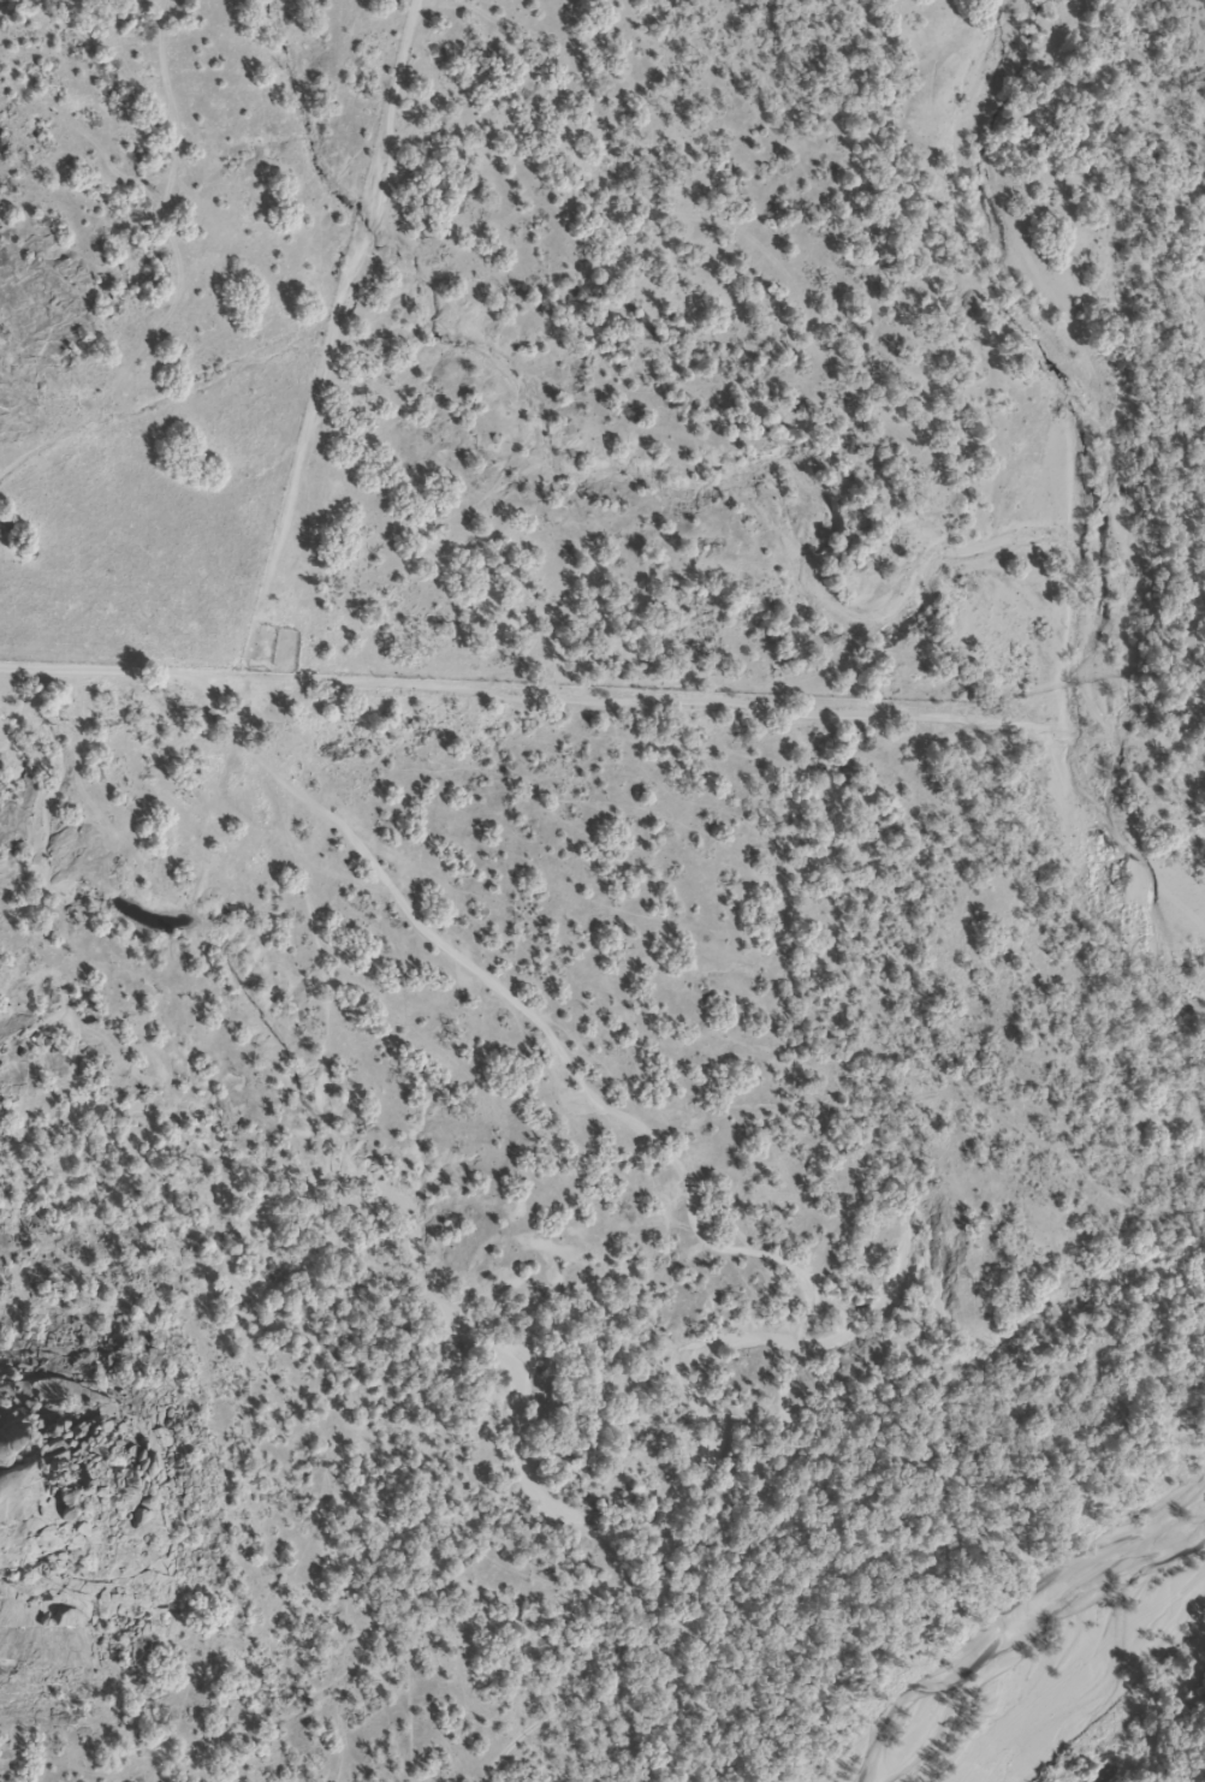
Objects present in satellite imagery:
road: (481, 691)
river: (1090, 1675)

